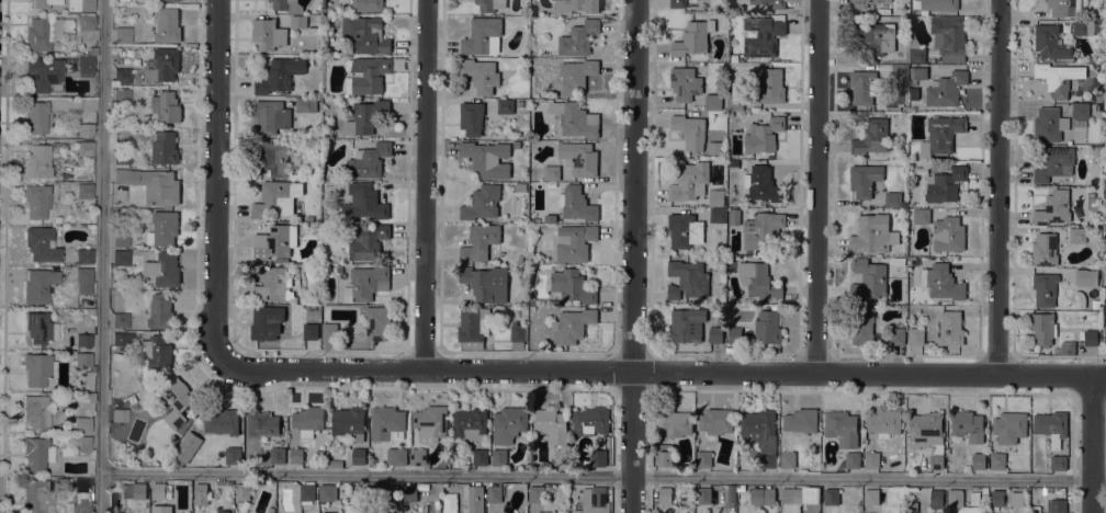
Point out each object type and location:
building: (126, 0)
building: (172, 0)
building: (44, 3)
building: (677, 3)
building: (769, 3)
building: (860, 3)
building: (80, 4)
building: (490, 4)
building: (939, 4)
building: (287, 5)
building: (368, 5)
building: (583, 5)
building: (1064, 8)
building: (345, 10)
building: (86, 21)
building: (298, 21)
building: (168, 25)
building: (1083, 27)
building: (42, 33)
building: (268, 34)
building: (365, 34)
building: (122, 35)
building: (482, 36)
building: (876, 36)
building: (578, 37)
building: (693, 37)
building: (764, 37)
building: (949, 39)
building: (1049, 42)
building: (915, 49)
building: (92, 50)
building: (163, 65)
building: (84, 66)
building: (918, 72)
building: (366, 73)
building: (901, 73)
building: (44, 75)
building: (280, 75)
building: (481, 75)
building: (576, 75)
building: (124, 76)
building: (1054, 78)
building: (685, 82)
building: (911, 83)
building: (771, 86)
building: (865, 86)
building: (946, 89)
building: (122, 94)
building: (912, 98)
building: (346, 100)
building: (712, 101)
building: (734, 102)
building: (519, 103)
building: (306, 104)
building: (166, 106)
building: (505, 106)
building: (1080, 111)
building: (36, 116)
building: (271, 116)
building: (366, 116)
building: (471, 117)
building: (575, 118)
building: (1049, 125)
building: (84, 129)
building: (690, 130)
building: (763, 135)
building: (940, 136)
building: (872, 137)
building: (711, 141)
building: (165, 148)
building: (84, 149)
building: (1096, 150)
building: (273, 156)
building: (121, 157)
building: (579, 158)
building: (487, 159)
building: (369, 160)
building: (38, 161)
building: (733, 163)
building: (1054, 163)
building: (552, 172)
building: (865, 179)
building: (689, 181)
road: (216, 183)
building: (153, 184)
road: (427, 184)
building: (763, 184)
building: (945, 184)
road: (816, 186)
road: (998, 186)
building: (521, 187)
building: (84, 191)
building: (276, 197)
building: (716, 197)
building: (892, 198)
building: (35, 201)
building: (364, 201)
building: (482, 203)
building: (763, 203)
building: (577, 204)
building: (1053, 208)
building: (718, 214)
building: (921, 216)
building: (57, 219)
building: (163, 228)
building: (685, 230)
building: (761, 230)
building: (872, 233)
building: (948, 233)
building: (1077, 235)
building: (121, 238)
building: (575, 241)
building: (272, 242)
building: (479, 242)
building: (369, 243)
building: (42, 244)
building: (1045, 249)
road: (4, 256)
building: (83, 256)
road: (102, 256)
road: (633, 256)
building: (121, 258)
building: (714, 259)
building: (899, 261)
building: (339, 269)
building: (163, 270)
building: (1086, 277)
building: (687, 278)
building: (869, 278)
building: (83, 280)
building: (758, 280)
building: (941, 281)
building: (271, 283)
building: (366, 283)
building: (486, 283)
building: (37, 285)
building: (572, 286)
building: (1045, 288)
building: (554, 301)
building: (1095, 304)
building: (160, 310)
building: (1105, 319)
building: (120, 320)
building: (377, 322)
building: (262, 323)
building: (572, 324)
building: (686, 324)
building: (860, 324)
building: (767, 327)
building: (39, 328)
building: (470, 328)
building: (950, 328)
building: (1043, 328)
building: (311, 331)
building: (330, 331)
building: (715, 334)
building: (734, 334)
building: (518, 335)
building: (896, 335)
building: (915, 335)
building: (1091, 338)
building: (120, 339)
building: (82, 340)
building: (1065, 349)
building: (156, 350)
building: (82, 361)
building: (36, 368)
road: (663, 372)
building: (174, 396)
building: (90, 397)
building: (37, 411)
building: (119, 414)
building: (431, 419)
building: (308, 420)
building: (801, 420)
building: (223, 421)
building: (349, 421)
building: (386, 421)
building: (590, 421)
building: (716, 422)
building: (884, 422)
building: (509, 423)
building: (674, 423)
building: (82, 424)
building: (262, 424)
building: (470, 424)
building: (968, 426)
building: (1009, 426)
building: (1052, 426)
building: (842, 428)
building: (554, 432)
building: (761, 435)
building: (927, 435)
building: (82, 443)
road: (1092, 444)
building: (36, 454)
building: (233, 455)
building: (276, 455)
building: (358, 455)
building: (296, 456)
building: (396, 456)
building: (418, 456)
building: (479, 456)
building: (498, 456)
building: (599, 457)
building: (665, 458)
building: (703, 458)
building: (788, 459)
building: (853, 459)
building: (871, 459)
building: (979, 460)
building: (997, 460)
building: (335, 463)
building: (1058, 463)
road: (603, 475)
building: (741, 487)
building: (134, 490)
building: (984, 490)
building: (160, 491)
building: (200, 491)
building: (242, 491)
building: (549, 491)
building: (307, 492)
building: (327, 492)
building: (391, 492)
building: (496, 492)
building: (410, 493)
building: (475, 493)
building: (537, 494)
road: (611, 494)
road: (646, 494)
building: (655, 494)
building: (664, 494)
building: (703, 494)
building: (36, 495)
building: (761, 495)
building: (787, 495)
building: (832, 495)
road: (1071, 495)
building: (871, 497)
building: (936, 497)
building: (962, 498)
building: (997, 498)
building: (729, 499)
building: (597, 501)
building: (1057, 505)
building: (81, 506)
building: (161, 509)
building: (376, 510)
building: (223, 511)
building: (577, 511)
building: (116, 512)
building: (330, 512)
building: (421, 512)
building: (542, 512)

